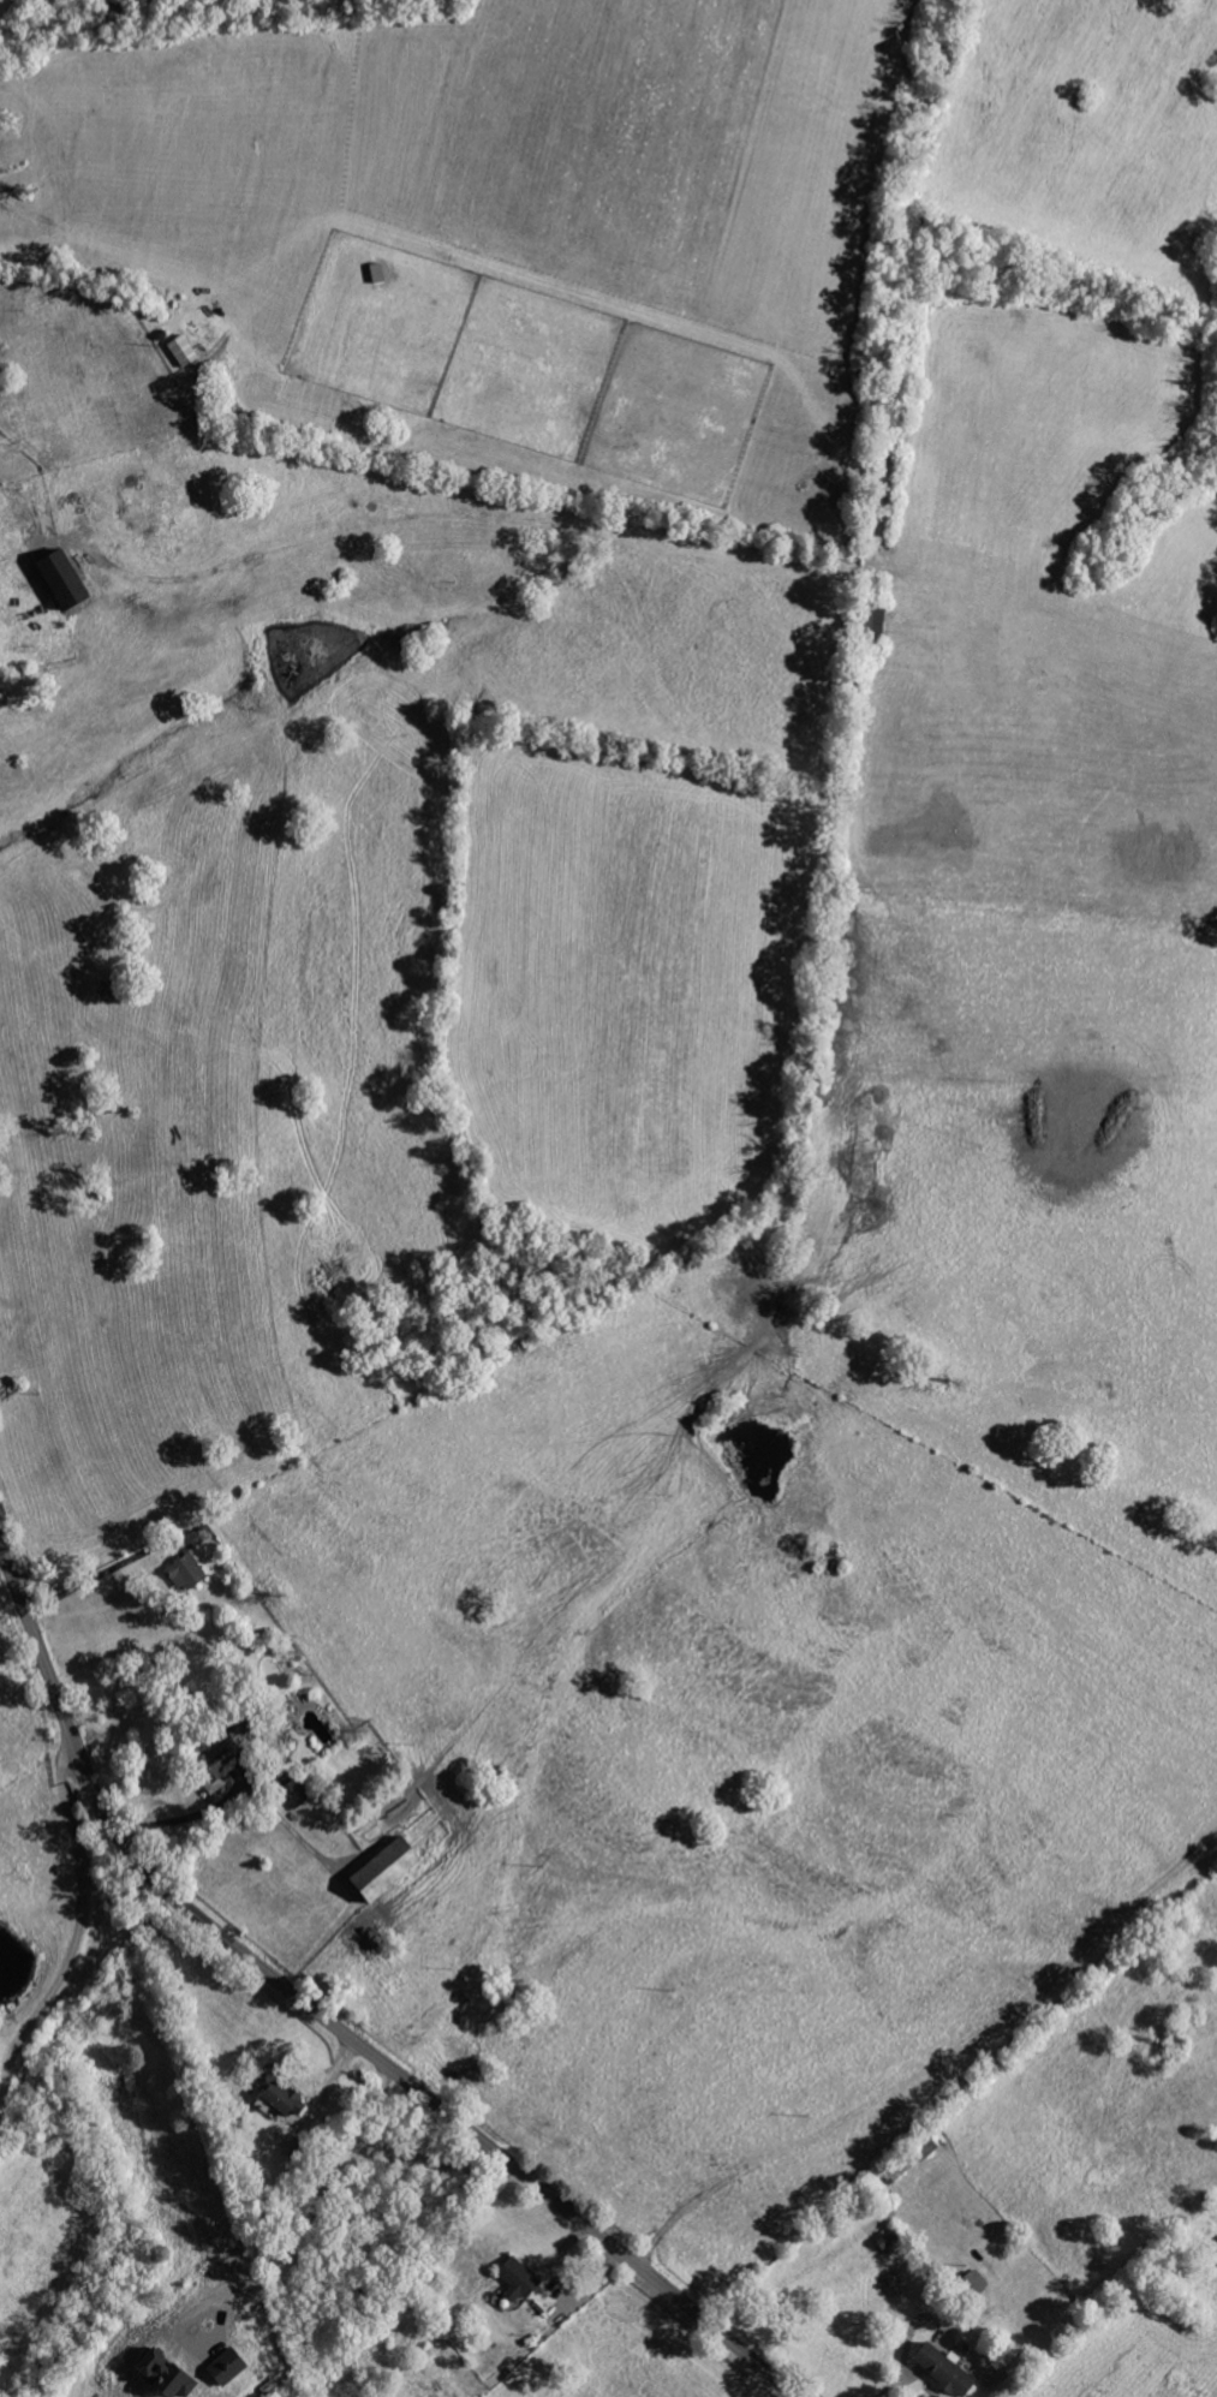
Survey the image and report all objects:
road: (2, 565)
building: (55, 578)
building: (870, 622)
building: (184, 1574)
road: (100, 1575)
building: (209, 1767)
building: (293, 1794)
road: (184, 1820)
road: (74, 1944)
road: (326, 2021)
building: (275, 2101)
road: (418, 2160)
road: (315, 2205)
building: (517, 2280)
building: (939, 2371)
building: (156, 2377)

